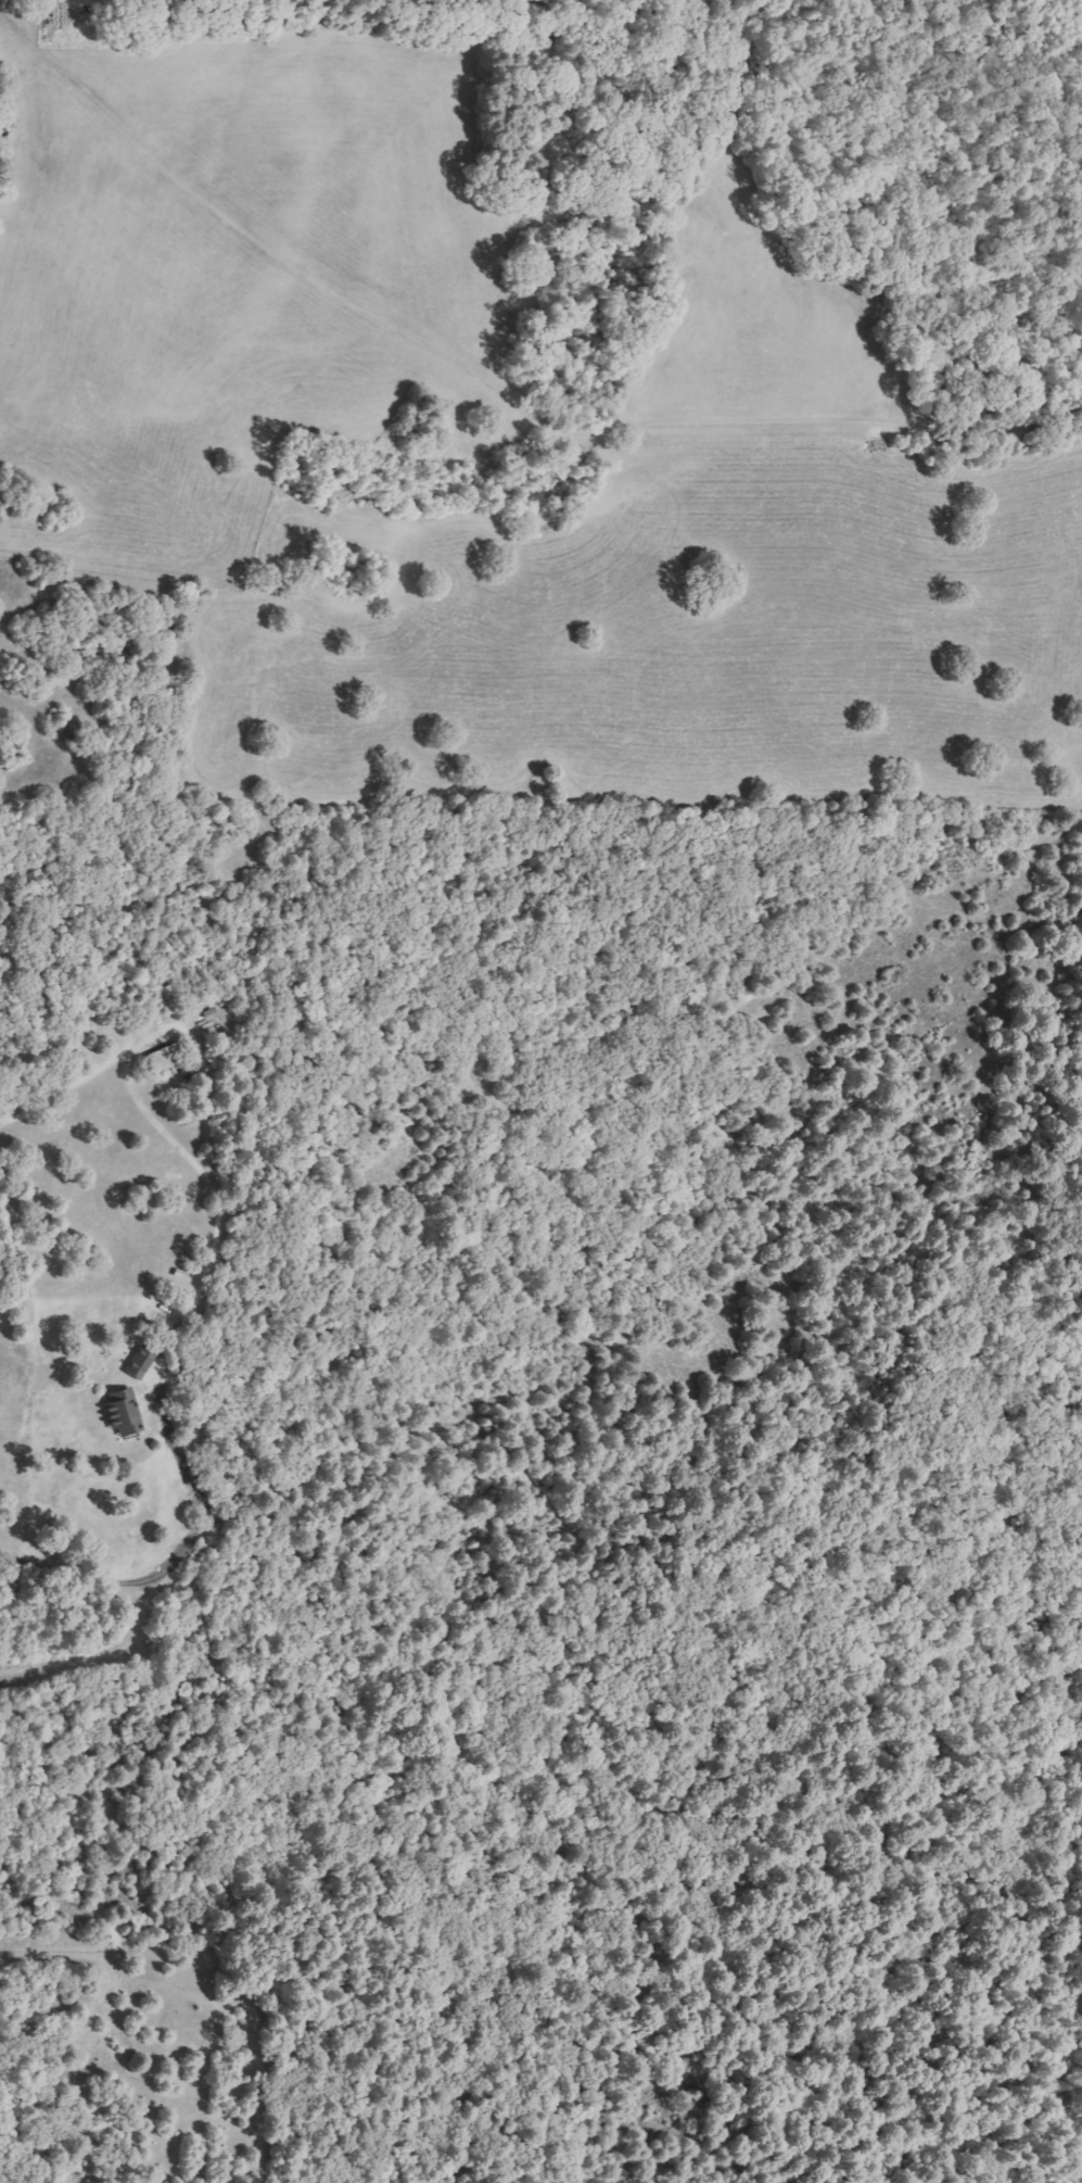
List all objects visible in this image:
building: (163, 1058)
building: (140, 1365)
building: (118, 1410)

